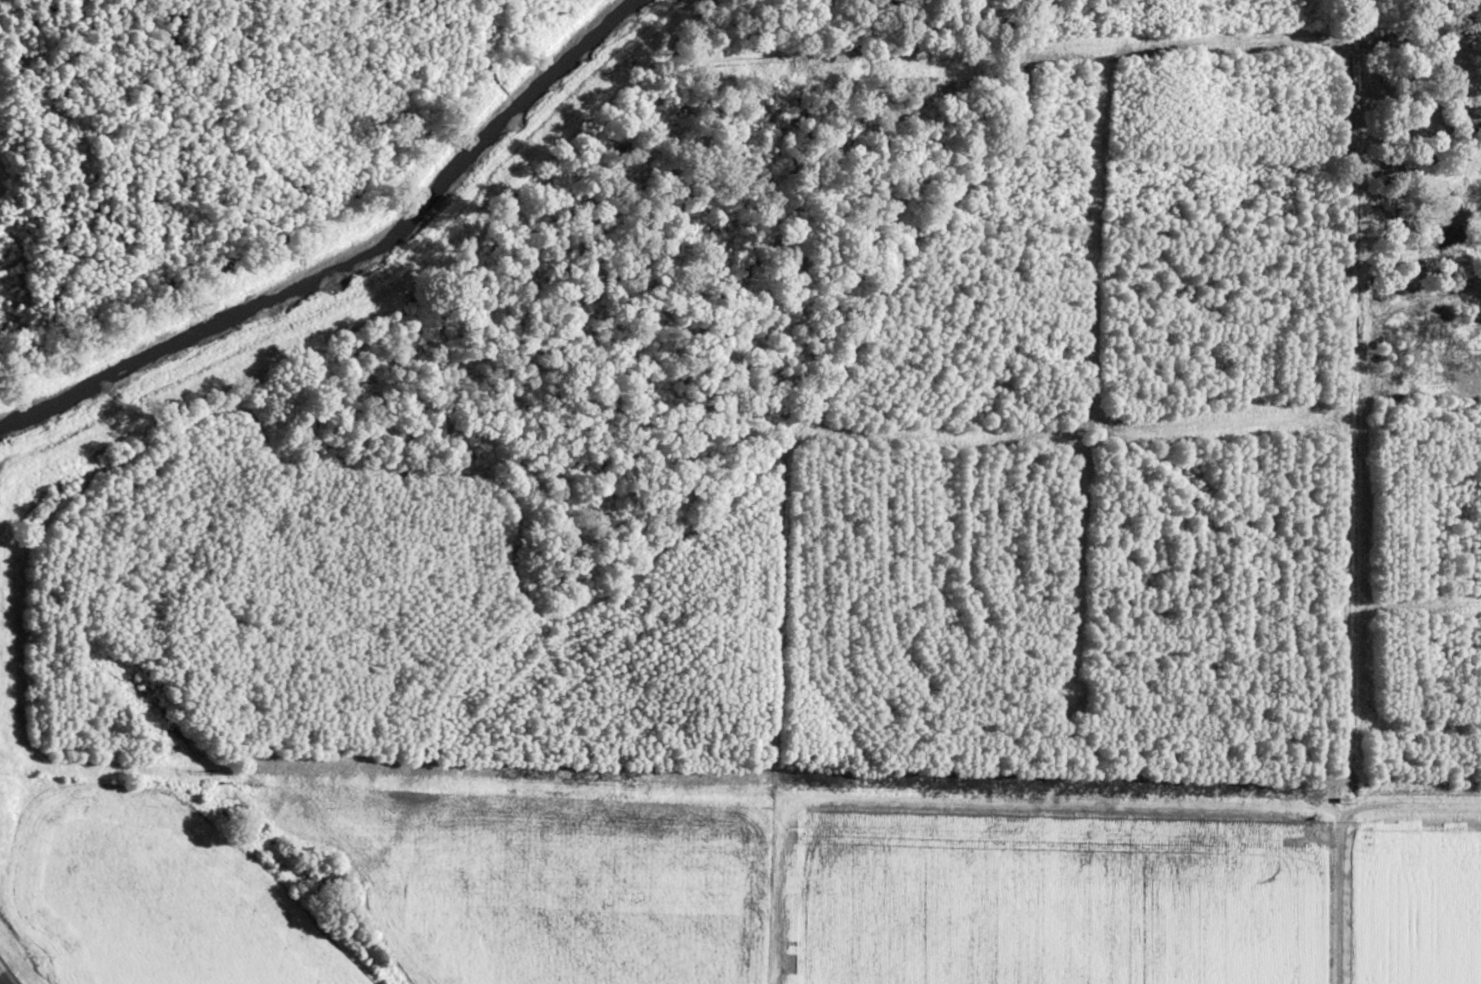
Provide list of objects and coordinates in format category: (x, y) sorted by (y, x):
road: (1347, 822)
road: (0, 983)

